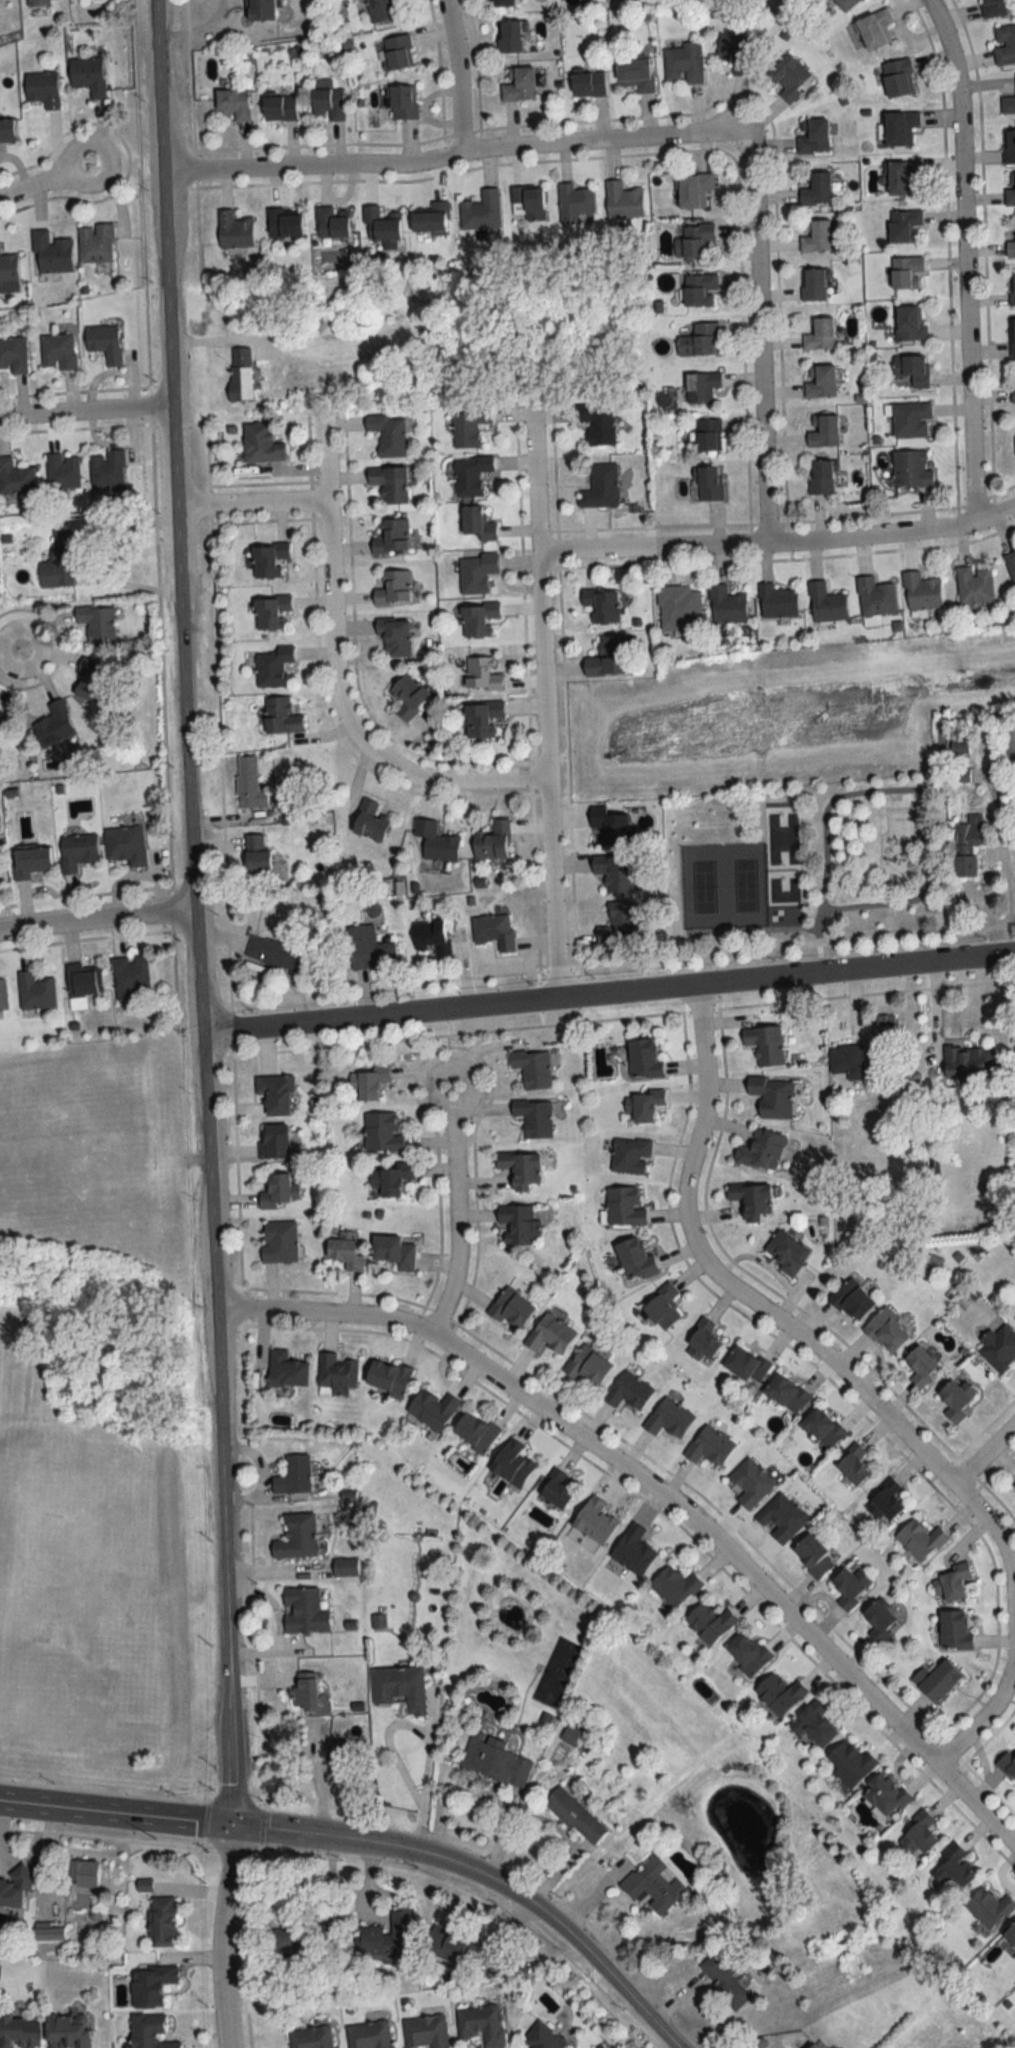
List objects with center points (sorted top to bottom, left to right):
building: (24, 0)
building: (46, 0)
building: (359, 0)
building: (502, 3)
building: (846, 4)
building: (996, 8)
building: (261, 10)
building: (382, 10)
road: (196, 24)
building: (874, 30)
building: (510, 37)
building: (1004, 44)
building: (735, 52)
building: (398, 53)
building: (684, 63)
building: (636, 74)
building: (88, 76)
road: (454, 77)
building: (788, 77)
building: (898, 78)
building: (588, 84)
building: (519, 85)
building: (43, 90)
building: (328, 103)
building: (402, 103)
building: (233, 105)
building: (1008, 106)
building: (280, 108)
building: (900, 129)
building: (8, 131)
building: (813, 136)
building: (1009, 148)
road: (453, 157)
building: (902, 177)
road: (43, 179)
building: (815, 189)
building: (1009, 189)
building: (693, 190)
building: (623, 200)
building: (576, 202)
building: (527, 204)
building: (481, 210)
building: (432, 218)
building: (284, 223)
building: (332, 223)
building: (382, 224)
building: (906, 226)
building: (234, 230)
building: (815, 236)
building: (695, 241)
building: (95, 242)
building: (1011, 246)
building: (51, 252)
road: (962, 258)
building: (8, 268)
building: (907, 272)
building: (814, 284)
building: (1012, 288)
building: (700, 289)
building: (910, 322)
building: (822, 332)
building: (1013, 335)
building: (700, 339)
building: (105, 341)
road: (757, 342)
building: (58, 350)
building: (13, 353)
building: (911, 370)
building: (240, 373)
building: (821, 380)
building: (701, 385)
building: (1013, 394)
road: (87, 412)
building: (911, 419)
building: (597, 422)
building: (468, 427)
building: (823, 429)
building: (388, 433)
building: (708, 433)
building: (261, 443)
building: (912, 468)
building: (108, 469)
building: (62, 470)
building: (470, 474)
building: (15, 476)
building: (822, 476)
building: (389, 482)
building: (706, 482)
building: (601, 486)
road: (251, 505)
road: (154, 516)
building: (477, 523)
building: (390, 535)
road: (778, 542)
road: (768, 552)
building: (269, 558)
building: (58, 560)
building: (1011, 564)
building: (476, 571)
building: (974, 585)
building: (393, 587)
building: (921, 590)
building: (875, 595)
building: (777, 600)
building: (826, 603)
building: (603, 604)
building: (726, 604)
building: (679, 606)
building: (271, 610)
building: (478, 617)
building: (97, 623)
building: (395, 636)
road: (9, 646)
building: (609, 656)
building: (273, 666)
building: (483, 673)
building: (90, 679)
road: (332, 680)
building: (408, 695)
road: (541, 702)
building: (281, 716)
building: (482, 717)
building: (54, 724)
building: (1009, 743)
building: (249, 784)
road: (881, 785)
building: (370, 820)
building: (610, 823)
park: (781, 833)
building: (436, 841)
building: (492, 841)
building: (126, 844)
building: (967, 847)
building: (77, 850)
building: (257, 853)
park: (805, 855)
building: (31, 861)
road: (192, 866)
road: (1006, 871)
building: (615, 872)
park: (724, 884)
road: (923, 888)
park: (784, 895)
road: (97, 917)
building: (616, 921)
building: (494, 930)
building: (432, 936)
building: (370, 947)
building: (280, 949)
road: (595, 962)
building: (131, 977)
building: (83, 983)
building: (35, 991)
road: (607, 994)
building: (2, 995)
road: (938, 1005)
building: (885, 1027)
building: (765, 1044)
building: (644, 1059)
building: (848, 1060)
building: (969, 1062)
building: (532, 1067)
building: (367, 1083)
building: (276, 1093)
building: (772, 1095)
building: (643, 1105)
building: (534, 1116)
building: (382, 1132)
building: (273, 1141)
building: (762, 1150)
building: (630, 1155)
building: (520, 1168)
building: (393, 1178)
building: (279, 1191)
building: (752, 1199)
building: (624, 1207)
road: (453, 1208)
building: (518, 1223)
building: (279, 1241)
building: (345, 1250)
building: (394, 1251)
building: (785, 1251)
building: (635, 1259)
building: (851, 1300)
building: (661, 1306)
building: (511, 1307)
building: (1014, 1317)
building: (886, 1331)
building: (550, 1334)
building: (702, 1342)
building: (999, 1348)
building: (587, 1365)
building: (746, 1365)
building: (922, 1366)
building: (287, 1369)
building: (337, 1374)
building: (388, 1377)
road: (850, 1379)
building: (628, 1391)
building: (786, 1393)
building: (956, 1398)
building: (432, 1408)
building: (668, 1418)
building: (823, 1427)
building: (475, 1432)
building: (709, 1446)
road: (983, 1452)
building: (512, 1463)
building: (852, 1465)
building: (294, 1475)
building: (750, 1483)
building: (1014, 1483)
building: (556, 1489)
road: (659, 1493)
building: (885, 1502)
building: (781, 1518)
building: (595, 1521)
building: (298, 1537)
building: (920, 1540)
building: (633, 1550)
building: (813, 1557)
building: (346, 1567)
building: (951, 1583)
building: (674, 1586)
building: (851, 1587)
park: (99, 1595)
building: (304, 1611)
building: (879, 1621)
building: (710, 1622)
building: (955, 1630)
building: (748, 1655)
building: (938, 1680)
building: (400, 1687)
building: (305, 1691)
building: (779, 1693)
building: (813, 1724)
building: (570, 1735)
road: (392, 1746)
building: (335, 1756)
building: (495, 1760)
building: (850, 1763)
building: (1007, 1766)
road: (228, 1778)
road: (425, 1785)
building: (885, 1794)
road: (115, 1812)
building: (576, 1816)
road: (286, 1832)
building: (919, 1834)
building: (953, 1868)
building: (84, 1874)
building: (655, 1884)
building: (14, 1887)
road: (530, 1906)
building: (989, 1908)
building: (162, 1922)
building: (49, 1934)
road: (221, 1935)
building: (1010, 1935)
building: (387, 1936)
building: (296, 1937)
building: (452, 1946)
building: (726, 1982)
building: (150, 1986)
building: (481, 2025)
building: (67, 2031)
building: (19, 2032)
building: (150, 2032)
building: (425, 2032)
building: (369, 2035)
building: (543, 2037)
building: (310, 2038)
building: (811, 2046)

